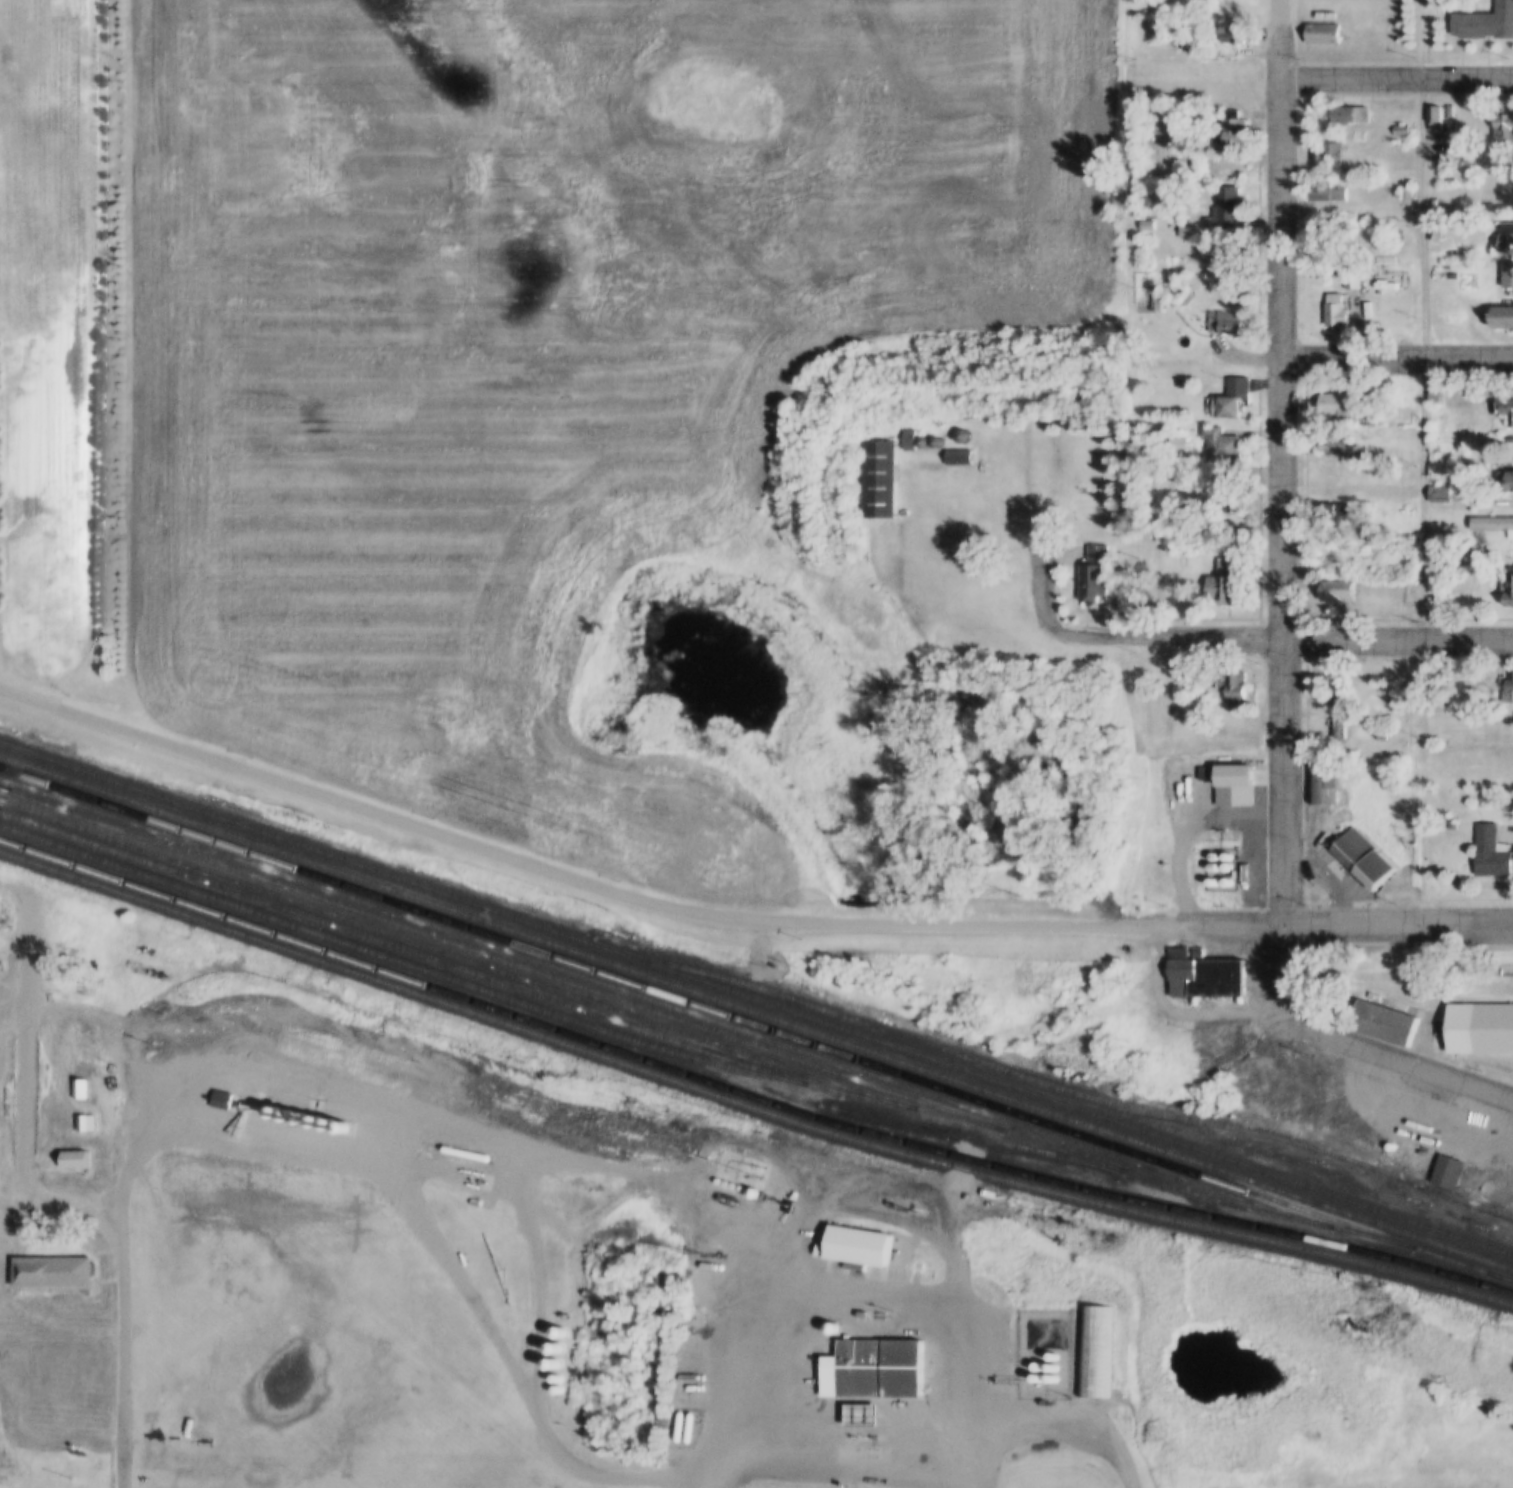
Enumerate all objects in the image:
building: (1479, 13)
building: (1228, 21)
building: (1316, 22)
building: (1231, 33)
building: (1321, 34)
road: (1276, 40)
road: (1394, 76)
building: (1344, 104)
building: (1432, 108)
building: (1500, 112)
building: (1347, 115)
building: (1226, 116)
building: (1395, 118)
building: (1232, 130)
building: (1503, 130)
building: (1322, 142)
building: (1327, 154)
building: (1401, 179)
building: (1319, 181)
building: (1324, 194)
building: (1429, 194)
building: (1220, 195)
building: (1140, 213)
building: (1191, 218)
building: (1503, 228)
building: (1504, 264)
building: (1447, 265)
building: (1350, 281)
building: (1150, 292)
building: (1328, 301)
building: (1499, 307)
building: (1222, 311)
building: (1335, 313)
building: (1501, 318)
building: (1225, 323)
road: (1242, 358)
road: (1396, 358)
road: (1424, 358)
building: (1174, 371)
building: (1223, 388)
building: (1428, 388)
building: (1331, 397)
building: (1502, 399)
building: (1223, 408)
building: (1504, 415)
building: (954, 425)
silo: (954, 425)
building: (902, 428)
building: (915, 431)
silo: (915, 431)
building: (928, 431)
silo: (928, 431)
building: (1325, 432)
building: (1173, 433)
building: (1213, 433)
building: (1330, 445)
building: (952, 446)
building: (956, 459)
building: (874, 469)
building: (1501, 470)
building: (1433, 482)
building: (1507, 484)
storage tank: (1494, 491)
road: (1280, 501)
building: (1325, 502)
building: (1231, 507)
building: (1330, 512)
building: (1490, 514)
building: (1492, 527)
building: (1323, 549)
building: (1218, 552)
building: (1086, 563)
building: (1214, 578)
building: (1505, 579)
building: (1329, 580)
building: (1334, 591)
road: (1119, 633)
road: (1397, 641)
building: (1228, 675)
building: (1505, 677)
building: (1171, 681)
building: (1507, 693)
building: (1333, 703)
building: (1338, 715)
building: (1375, 725)
building: (1315, 771)
building: (1227, 774)
building: (1445, 814)
storage tank: (1397, 831)
building: (1484, 841)
storage tank: (1207, 844)
storage tank: (1220, 844)
building: (1356, 847)
storage tank: (1206, 855)
storage tank: (1220, 855)
building: (1229, 864)
storage tank: (1206, 870)
storage tank: (1220, 870)
road: (579, 879)
road: (1349, 923)
railway: (345, 944)
railway: (400, 949)
railway: (454, 956)
railway: (498, 961)
building: (1196, 963)
railway: (756, 1002)
railway: (664, 1005)
railway: (705, 1008)
railway: (745, 1011)
building: (1377, 1012)
building: (1477, 1017)
road: (1359, 1043)
railway: (751, 1072)
railway: (1061, 1091)
building: (79, 1112)
storage tank: (1413, 1115)
road: (423, 1126)
storage tank: (1382, 1136)
storage tank: (459, 1142)
building: (68, 1149)
building: (462, 1156)
building: (1439, 1160)
building: (733, 1164)
building: (1446, 1175)
road: (56, 1191)
building: (470, 1191)
building: (850, 1234)
building: (46, 1261)
road: (952, 1268)
storage tank: (826, 1320)
building: (1089, 1339)
storage tank: (1034, 1341)
storage tank: (1047, 1341)
storage tank: (1033, 1354)
storage tank: (1047, 1354)
building: (866, 1358)
storage tank: (1033, 1366)
storage tank: (1047, 1367)
building: (1037, 1391)
building: (854, 1404)
road: (829, 1467)
road: (710, 1485)

